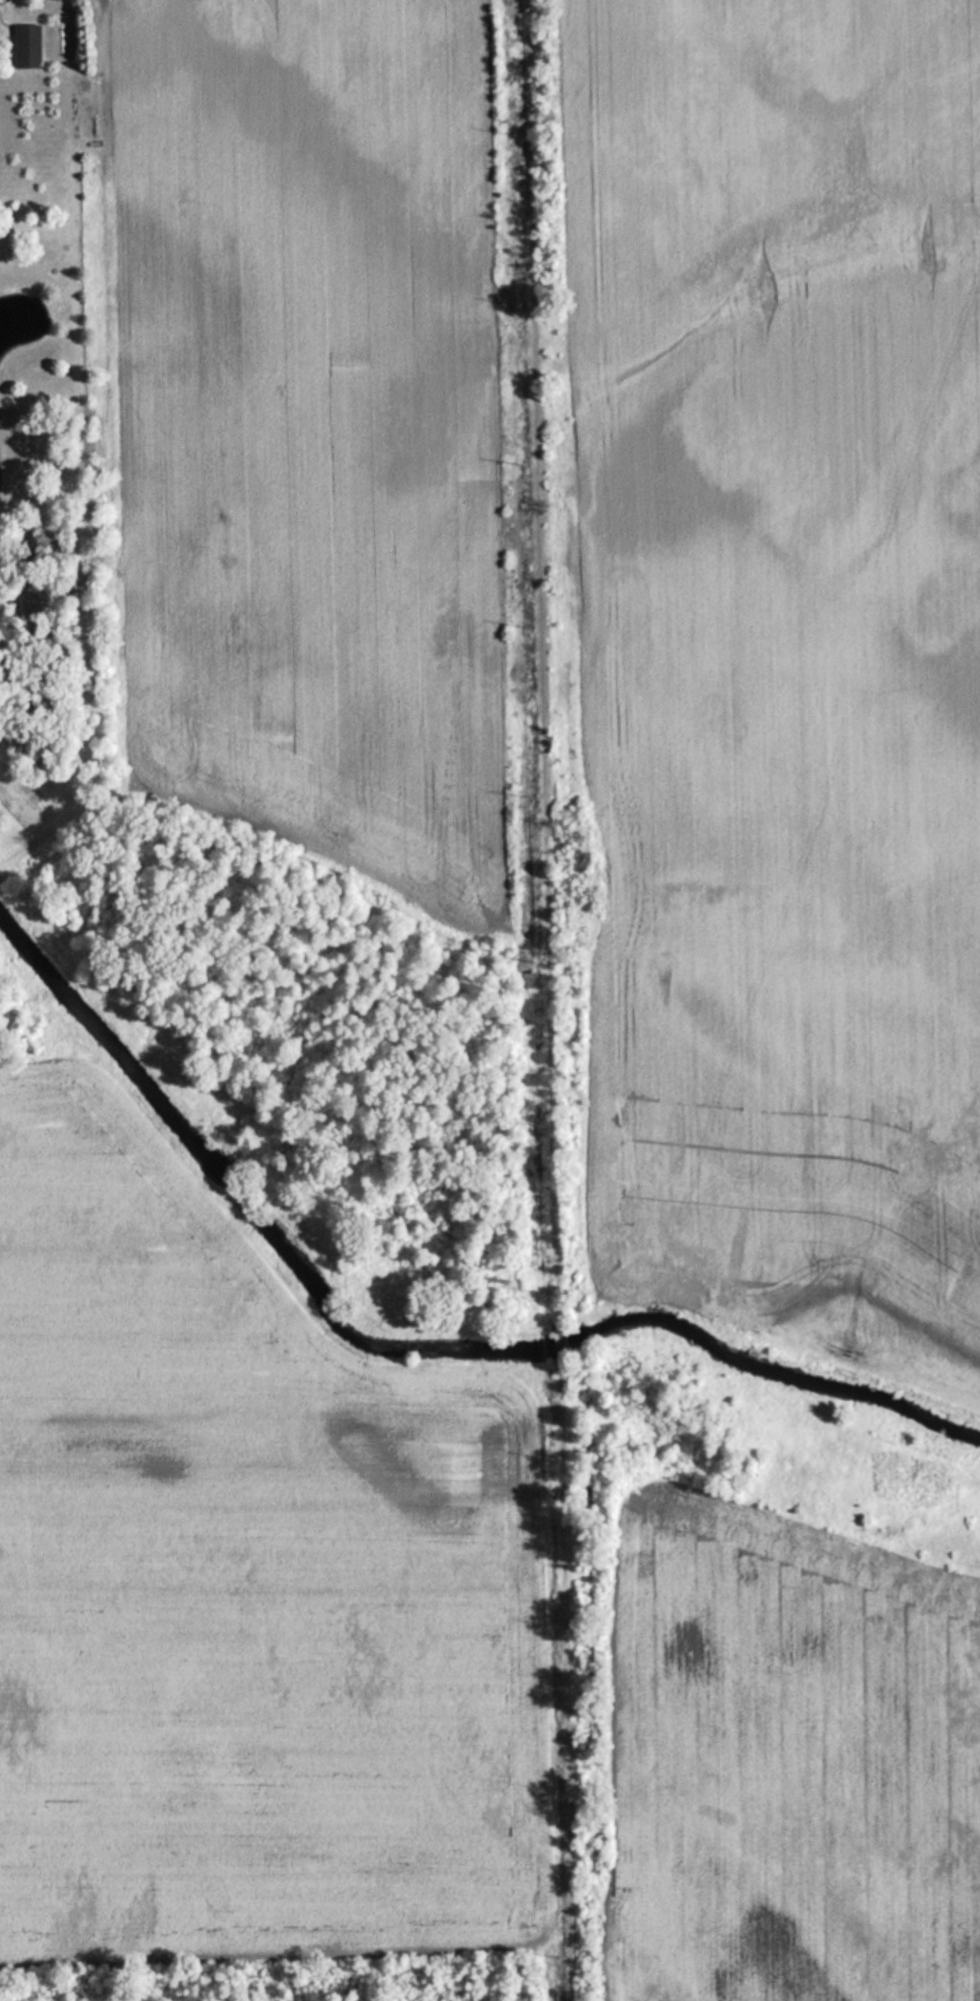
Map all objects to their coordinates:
building: (25, 45)
road: (543, 377)
river: (403, 1350)

